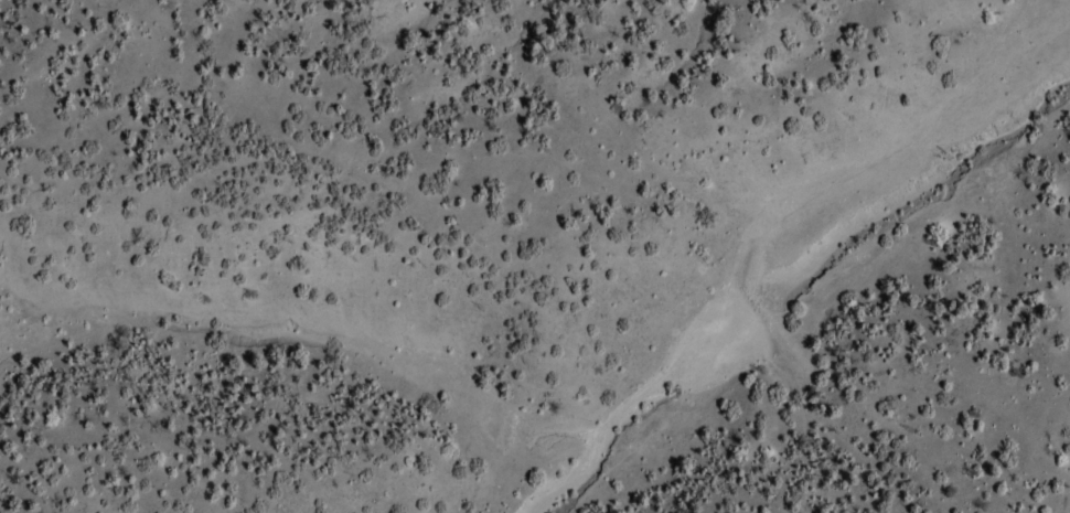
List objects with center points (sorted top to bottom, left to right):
dam: (764, 318)

